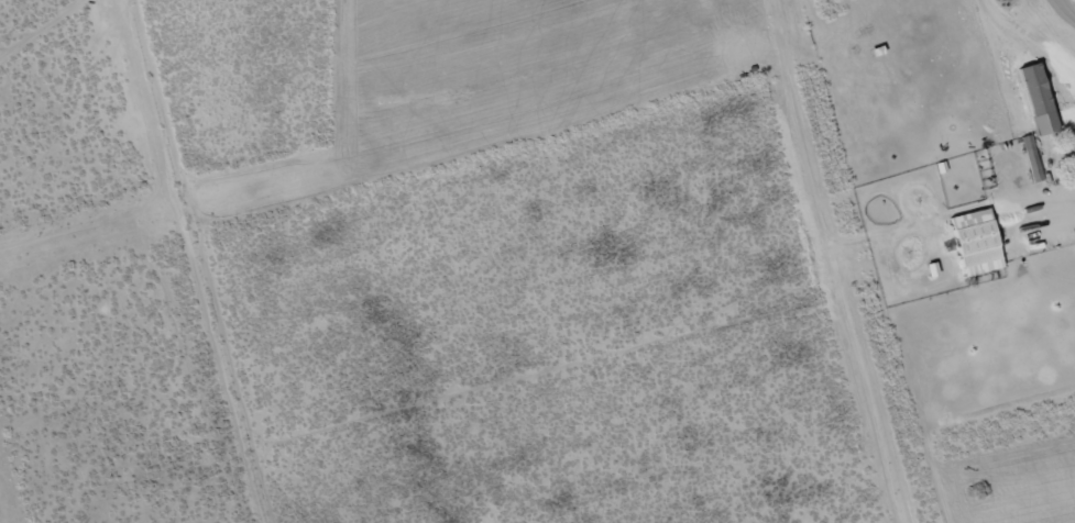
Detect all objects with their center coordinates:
road: (1025, 40)
building: (1033, 89)
building: (1030, 158)
building: (975, 242)
building: (931, 270)

